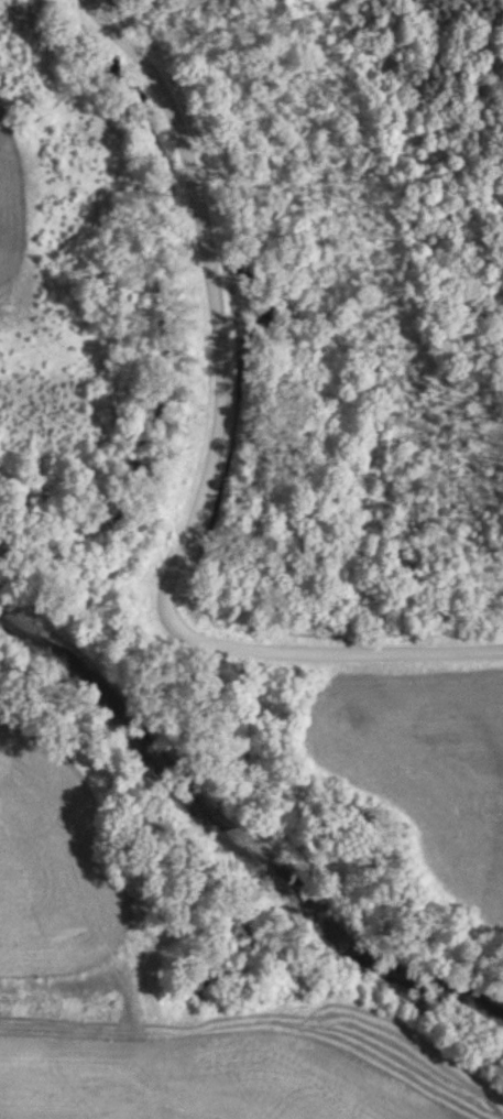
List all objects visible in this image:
road: (204, 315)
road: (248, 650)

